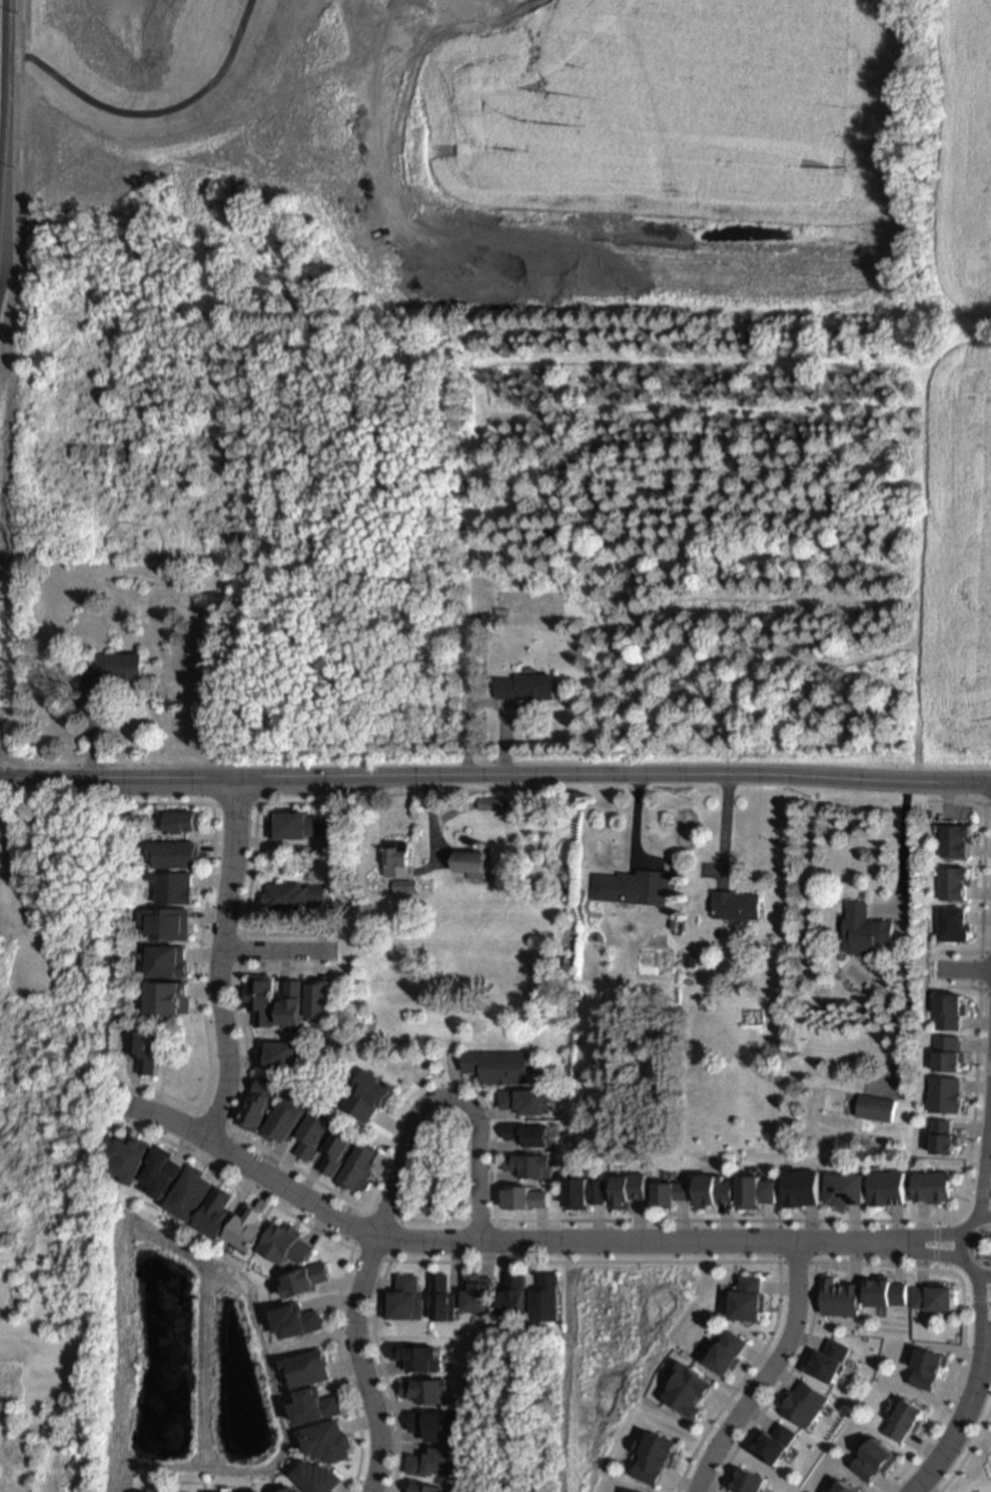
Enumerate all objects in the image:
road: (373, 1)
road: (660, 17)
road: (898, 36)
road: (642, 53)
road: (375, 100)
road: (649, 107)
road: (147, 115)
road: (1, 127)
road: (21, 127)
road: (10, 255)
building: (114, 666)
building: (524, 685)
road: (495, 774)
building: (491, 803)
building: (183, 824)
building: (296, 825)
road: (726, 827)
road: (901, 852)
building: (172, 856)
building: (399, 857)
building: (473, 862)
building: (408, 885)
building: (629, 888)
building: (293, 897)
building: (675, 897)
building: (736, 902)
building: (864, 928)
road: (274, 952)
road: (217, 959)
building: (692, 959)
building: (33, 962)
road: (963, 970)
building: (260, 1003)
building: (140, 1050)
building: (498, 1064)
road: (443, 1094)
building: (371, 1095)
building: (877, 1105)
building: (527, 1133)
building: (130, 1158)
building: (528, 1164)
road: (254, 1170)
building: (165, 1172)
building: (932, 1188)
building: (887, 1189)
building: (191, 1191)
building: (670, 1195)
road: (984, 1195)
building: (217, 1213)
building: (249, 1226)
road: (940, 1238)
building: (290, 1241)
road: (647, 1241)
road: (961, 1246)
road: (940, 1252)
building: (307, 1282)
building: (479, 1292)
building: (932, 1292)
building: (887, 1294)
building: (404, 1295)
building: (546, 1297)
road: (980, 1298)
building: (298, 1319)
road: (988, 1319)
road: (987, 1357)
building: (418, 1359)
road: (360, 1364)
building: (306, 1365)
road: (769, 1375)
building: (425, 1393)
building: (315, 1402)
road: (965, 1415)
building: (904, 1422)
building: (434, 1465)
building: (315, 1478)
road: (929, 1486)
building: (422, 1488)
building: (631, 1490)

